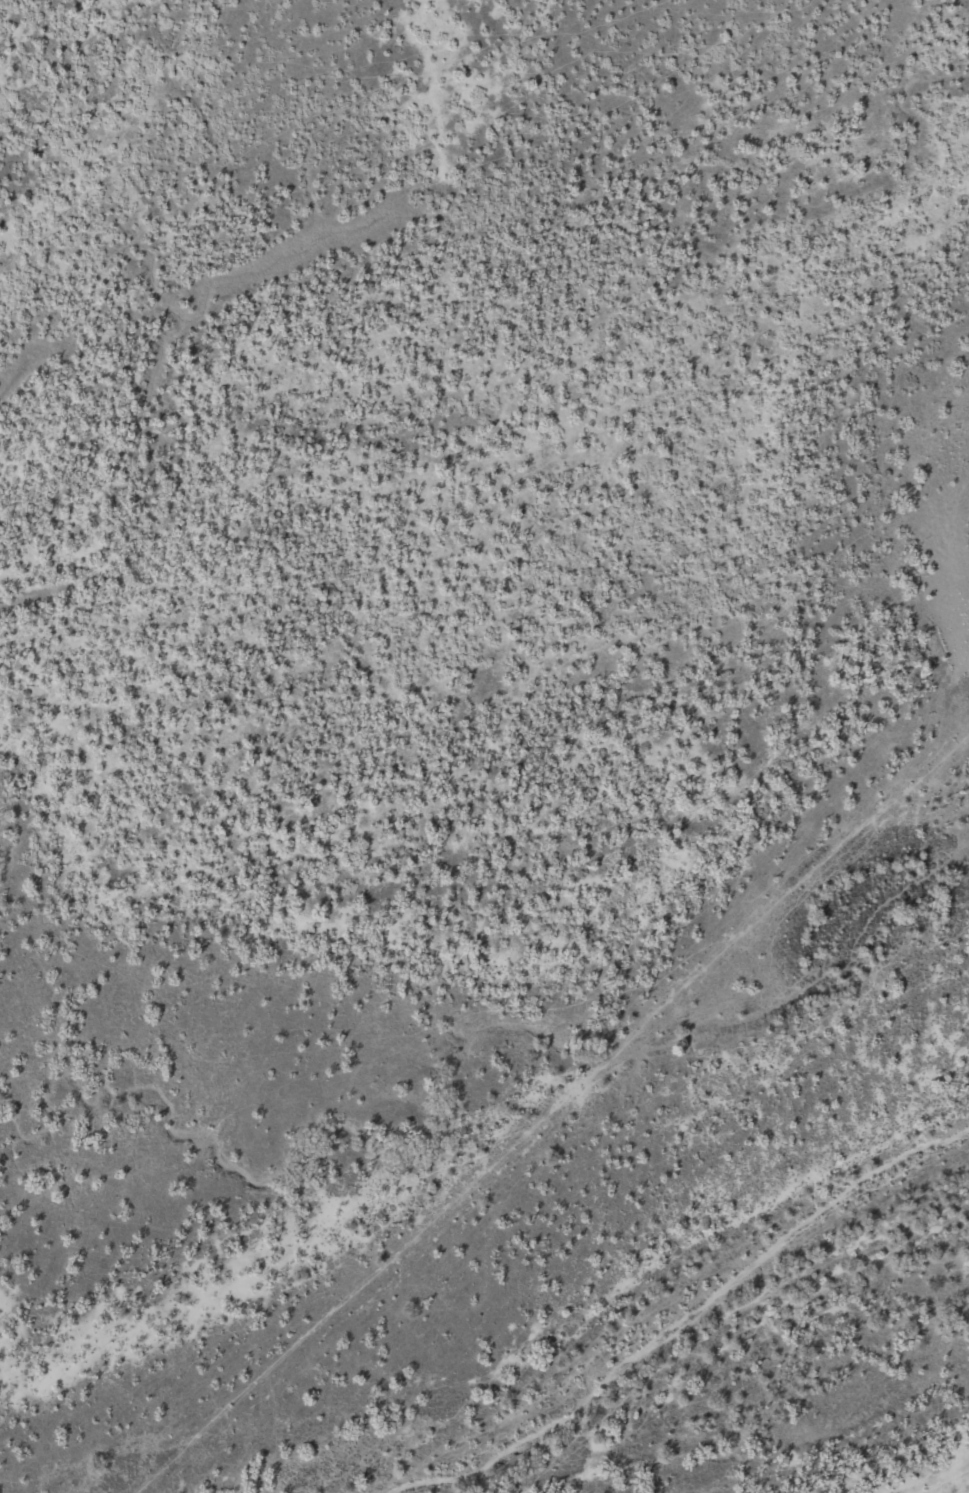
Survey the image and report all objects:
river: (664, 1299)
road: (933, 1479)

